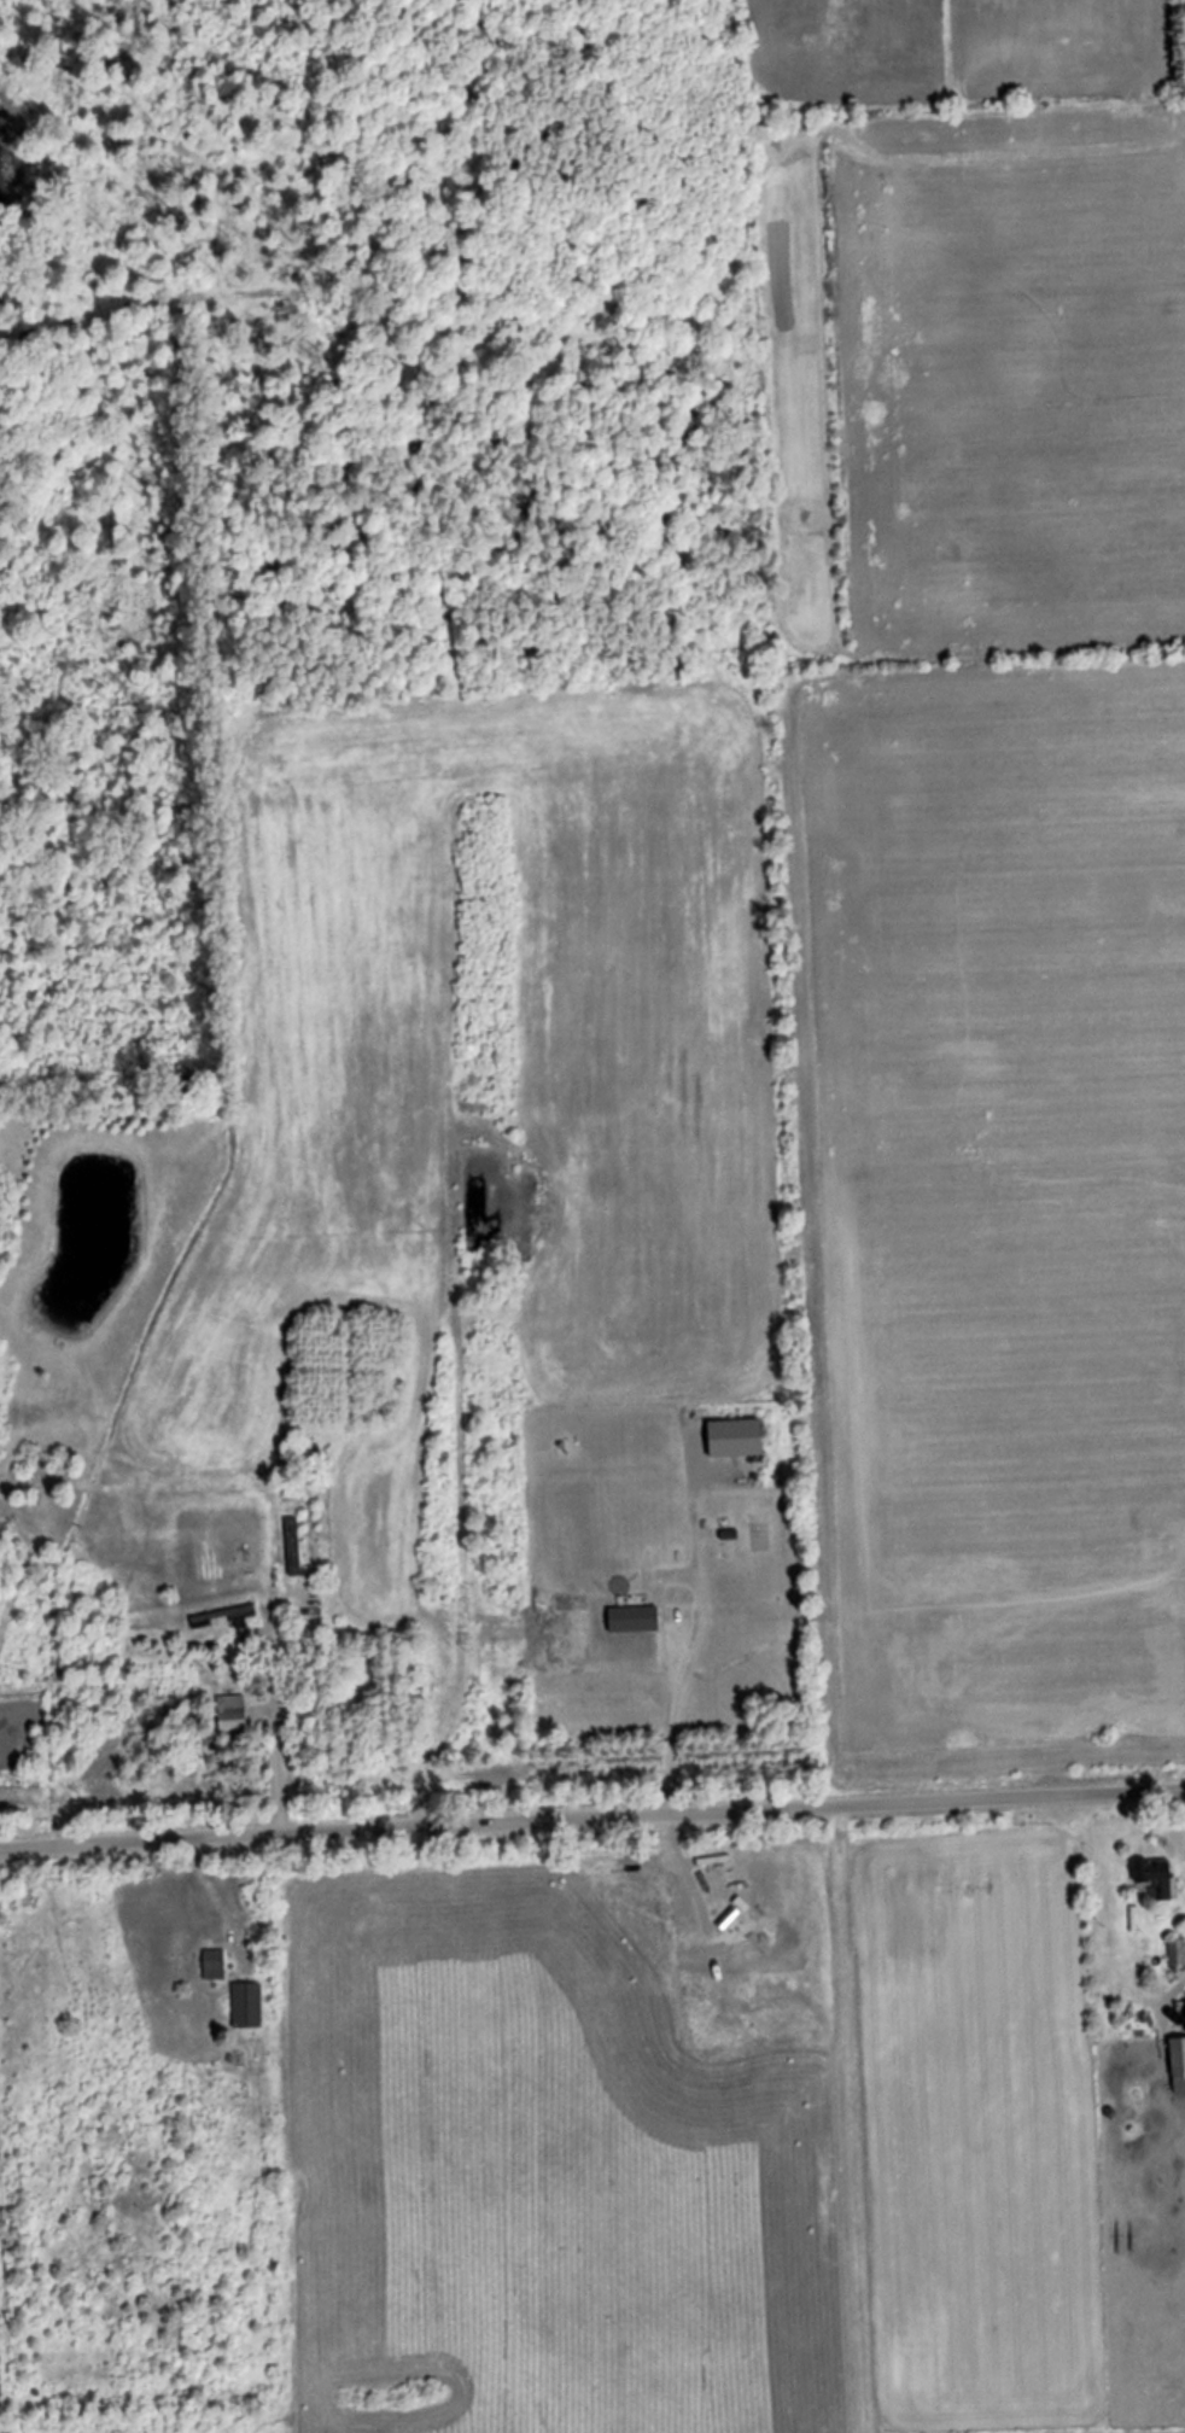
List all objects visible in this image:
building: (1163, 951)
building: (736, 1437)
building: (654, 1615)
building: (224, 1617)
building: (232, 1714)
road: (592, 1820)
building: (1152, 1879)
building: (1178, 1953)
building: (767, 1956)
building: (215, 1965)
building: (1178, 2058)

